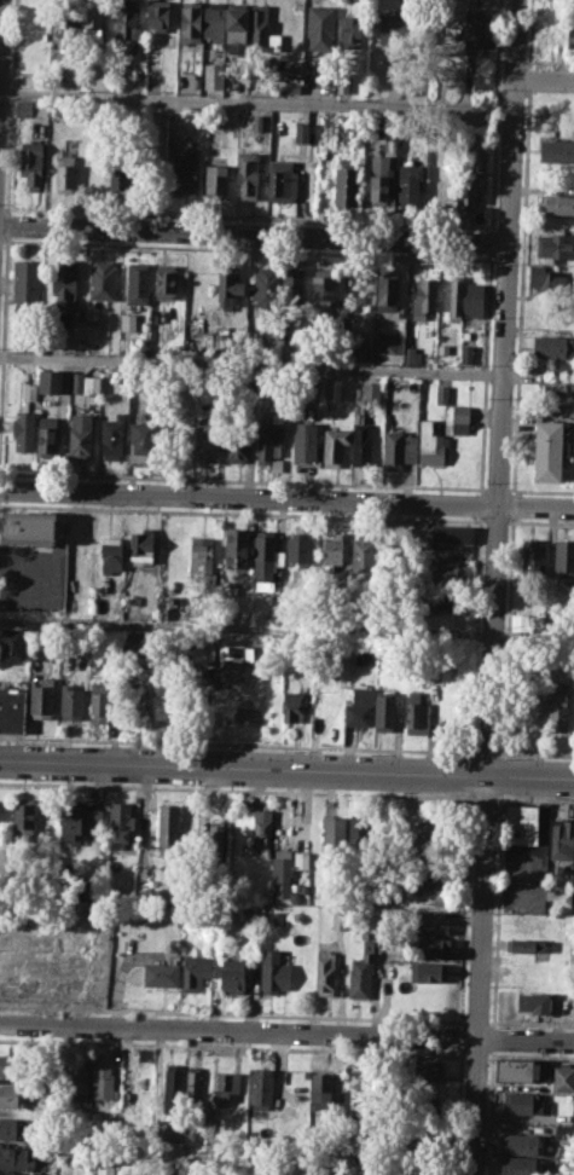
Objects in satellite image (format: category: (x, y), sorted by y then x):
road: (0, 13)
building: (157, 17)
building: (124, 18)
building: (93, 21)
building: (190, 21)
building: (214, 23)
building: (237, 23)
building: (321, 27)
building: (352, 29)
building: (475, 29)
building: (262, 30)
building: (543, 35)
building: (393, 40)
building: (570, 40)
building: (292, 68)
building: (211, 75)
road: (541, 79)
building: (341, 81)
building: (294, 88)
road: (254, 102)
building: (23, 108)
building: (257, 122)
building: (341, 129)
building: (301, 132)
building: (479, 137)
building: (390, 145)
building: (556, 149)
building: (31, 164)
building: (185, 172)
building: (65, 173)
building: (247, 173)
building: (379, 178)
building: (118, 180)
building: (215, 181)
building: (282, 181)
building: (410, 183)
building: (347, 184)
building: (439, 189)
building: (466, 190)
building: (556, 203)
road: (253, 235)
building: (552, 245)
building: (550, 278)
building: (27, 280)
building: (102, 280)
building: (137, 282)
building: (65, 283)
building: (164, 283)
building: (230, 285)
building: (292, 285)
building: (324, 285)
building: (266, 290)
building: (387, 290)
building: (454, 294)
building: (423, 297)
building: (472, 299)
building: (128, 320)
building: (384, 342)
building: (552, 346)
building: (466, 353)
building: (411, 355)
road: (249, 363)
building: (563, 367)
building: (50, 381)
building: (75, 382)
building: (123, 382)
building: (91, 383)
building: (331, 388)
building: (552, 389)
building: (28, 390)
building: (371, 390)
building: (441, 393)
building: (460, 419)
building: (23, 430)
building: (80, 434)
building: (47, 435)
building: (111, 436)
building: (207, 439)
building: (237, 439)
building: (268, 439)
building: (305, 440)
building: (141, 441)
building: (364, 442)
building: (429, 442)
building: (334, 445)
building: (398, 447)
building: (549, 450)
road: (286, 498)
building: (29, 526)
building: (450, 538)
building: (236, 546)
building: (143, 548)
building: (298, 548)
building: (331, 550)
building: (110, 552)
building: (363, 554)
building: (563, 555)
building: (532, 556)
building: (202, 558)
building: (265, 558)
building: (446, 572)
road: (492, 587)
building: (447, 598)
road: (509, 606)
road: (286, 629)
building: (13, 642)
building: (202, 650)
building: (364, 654)
building: (41, 699)
building: (132, 699)
building: (100, 701)
building: (71, 702)
building: (294, 704)
building: (359, 706)
building: (557, 706)
building: (12, 708)
building: (385, 710)
building: (417, 712)
road: (238, 743)
road: (487, 752)
road: (535, 753)
road: (286, 769)
road: (236, 788)
road: (485, 797)
road: (535, 798)
building: (23, 820)
building: (70, 822)
building: (120, 822)
building: (521, 823)
building: (168, 827)
building: (262, 828)
building: (332, 834)
building: (359, 835)
building: (562, 838)
building: (216, 840)
building: (424, 840)
building: (301, 859)
building: (282, 872)
building: (338, 920)
building: (428, 922)
building: (532, 922)
building: (527, 944)
building: (430, 948)
building: (196, 972)
building: (274, 972)
building: (325, 972)
building: (428, 972)
building: (161, 974)
building: (233, 977)
building: (360, 977)
building: (533, 1001)
road: (286, 1030)
building: (12, 1065)
building: (423, 1067)
building: (520, 1069)
building: (562, 1076)
building: (174, 1078)
building: (79, 1080)
building: (195, 1082)
building: (103, 1084)
building: (261, 1084)
building: (226, 1087)
building: (319, 1089)
building: (11, 1095)
building: (422, 1104)
building: (522, 1104)
building: (13, 1127)
building: (563, 1131)
building: (521, 1142)
building: (16, 1157)
building: (44, 1160)
building: (520, 1165)
building: (105, 1169)
building: (329, 1171)
building: (11, 1173)

